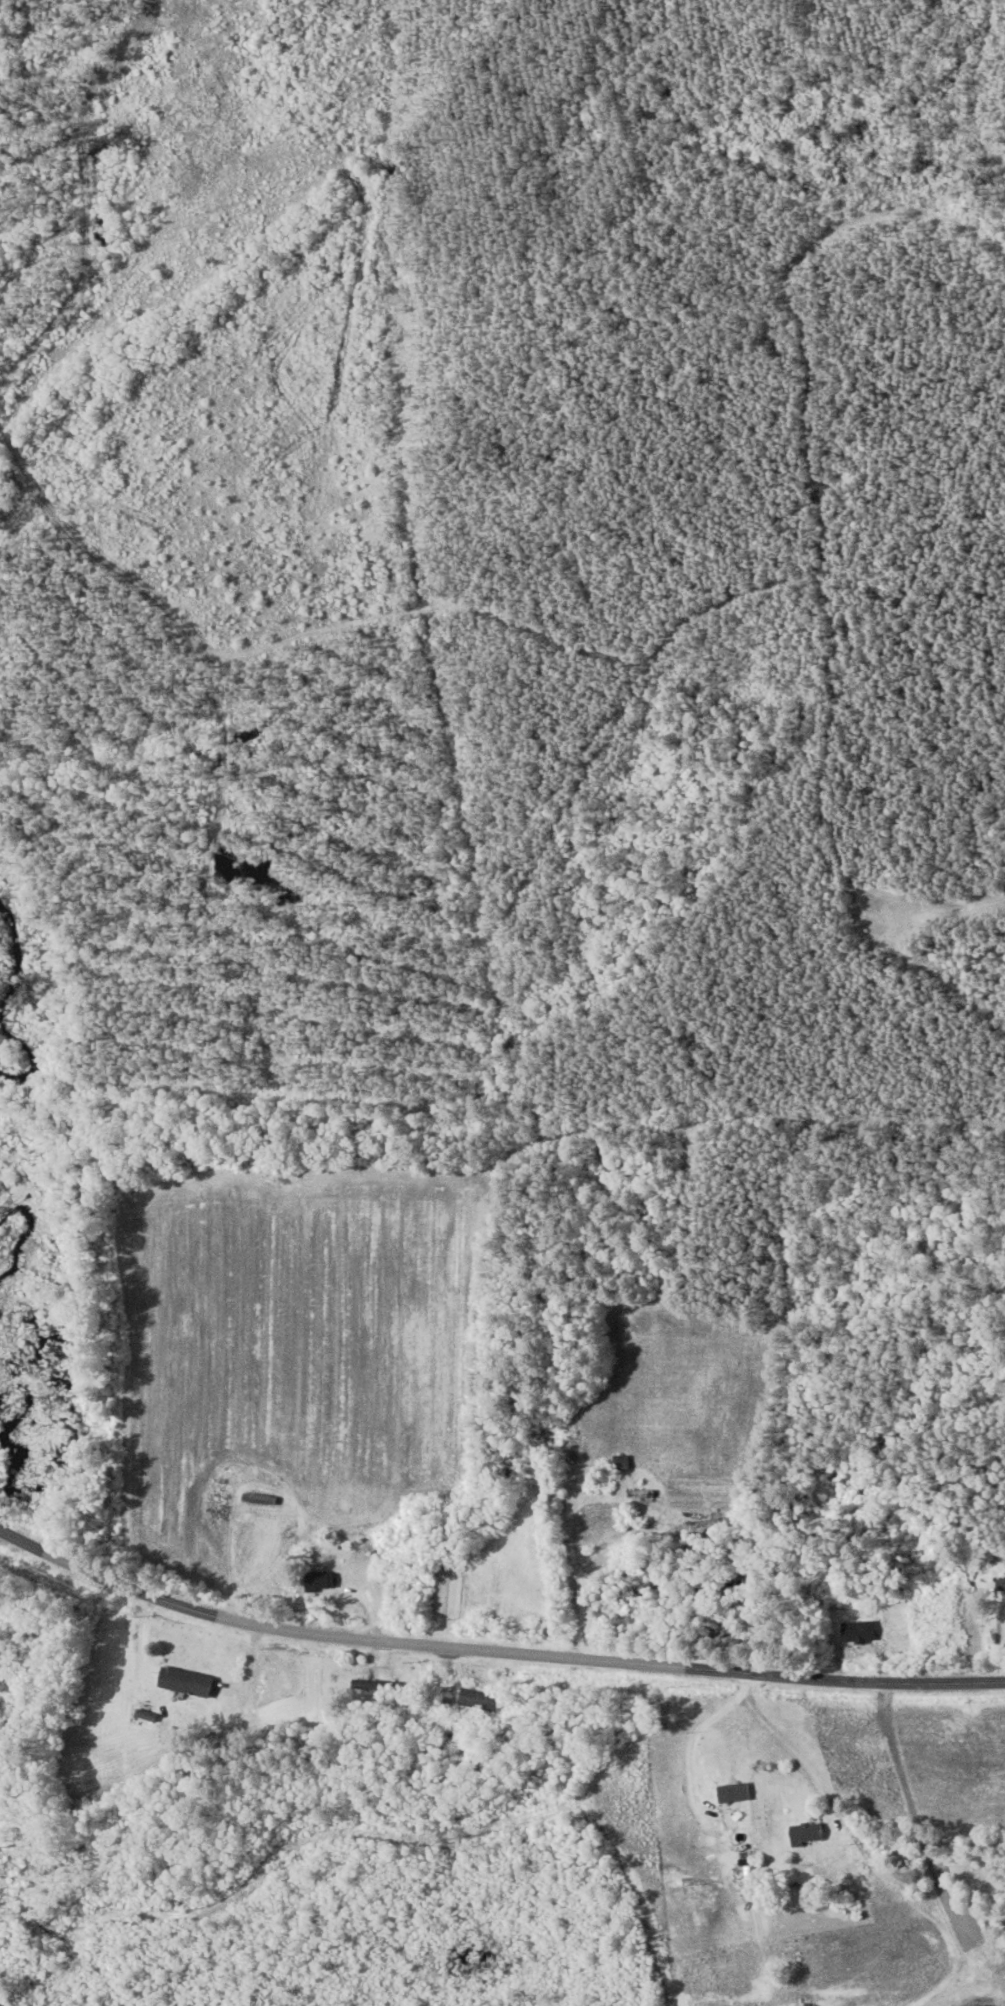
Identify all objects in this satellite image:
building: (621, 1463)
building: (260, 1499)
road: (229, 1561)
building: (320, 1581)
building: (1001, 1585)
building: (860, 1632)
road: (493, 1650)
building: (186, 1682)
building: (477, 1699)
building: (446, 1705)
road: (790, 1744)
building: (807, 1832)

